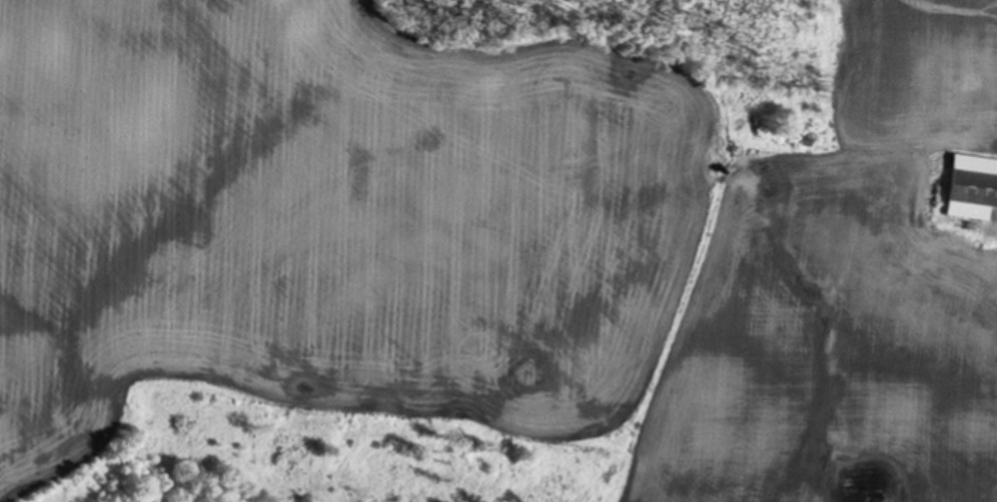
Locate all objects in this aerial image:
building: (966, 188)

